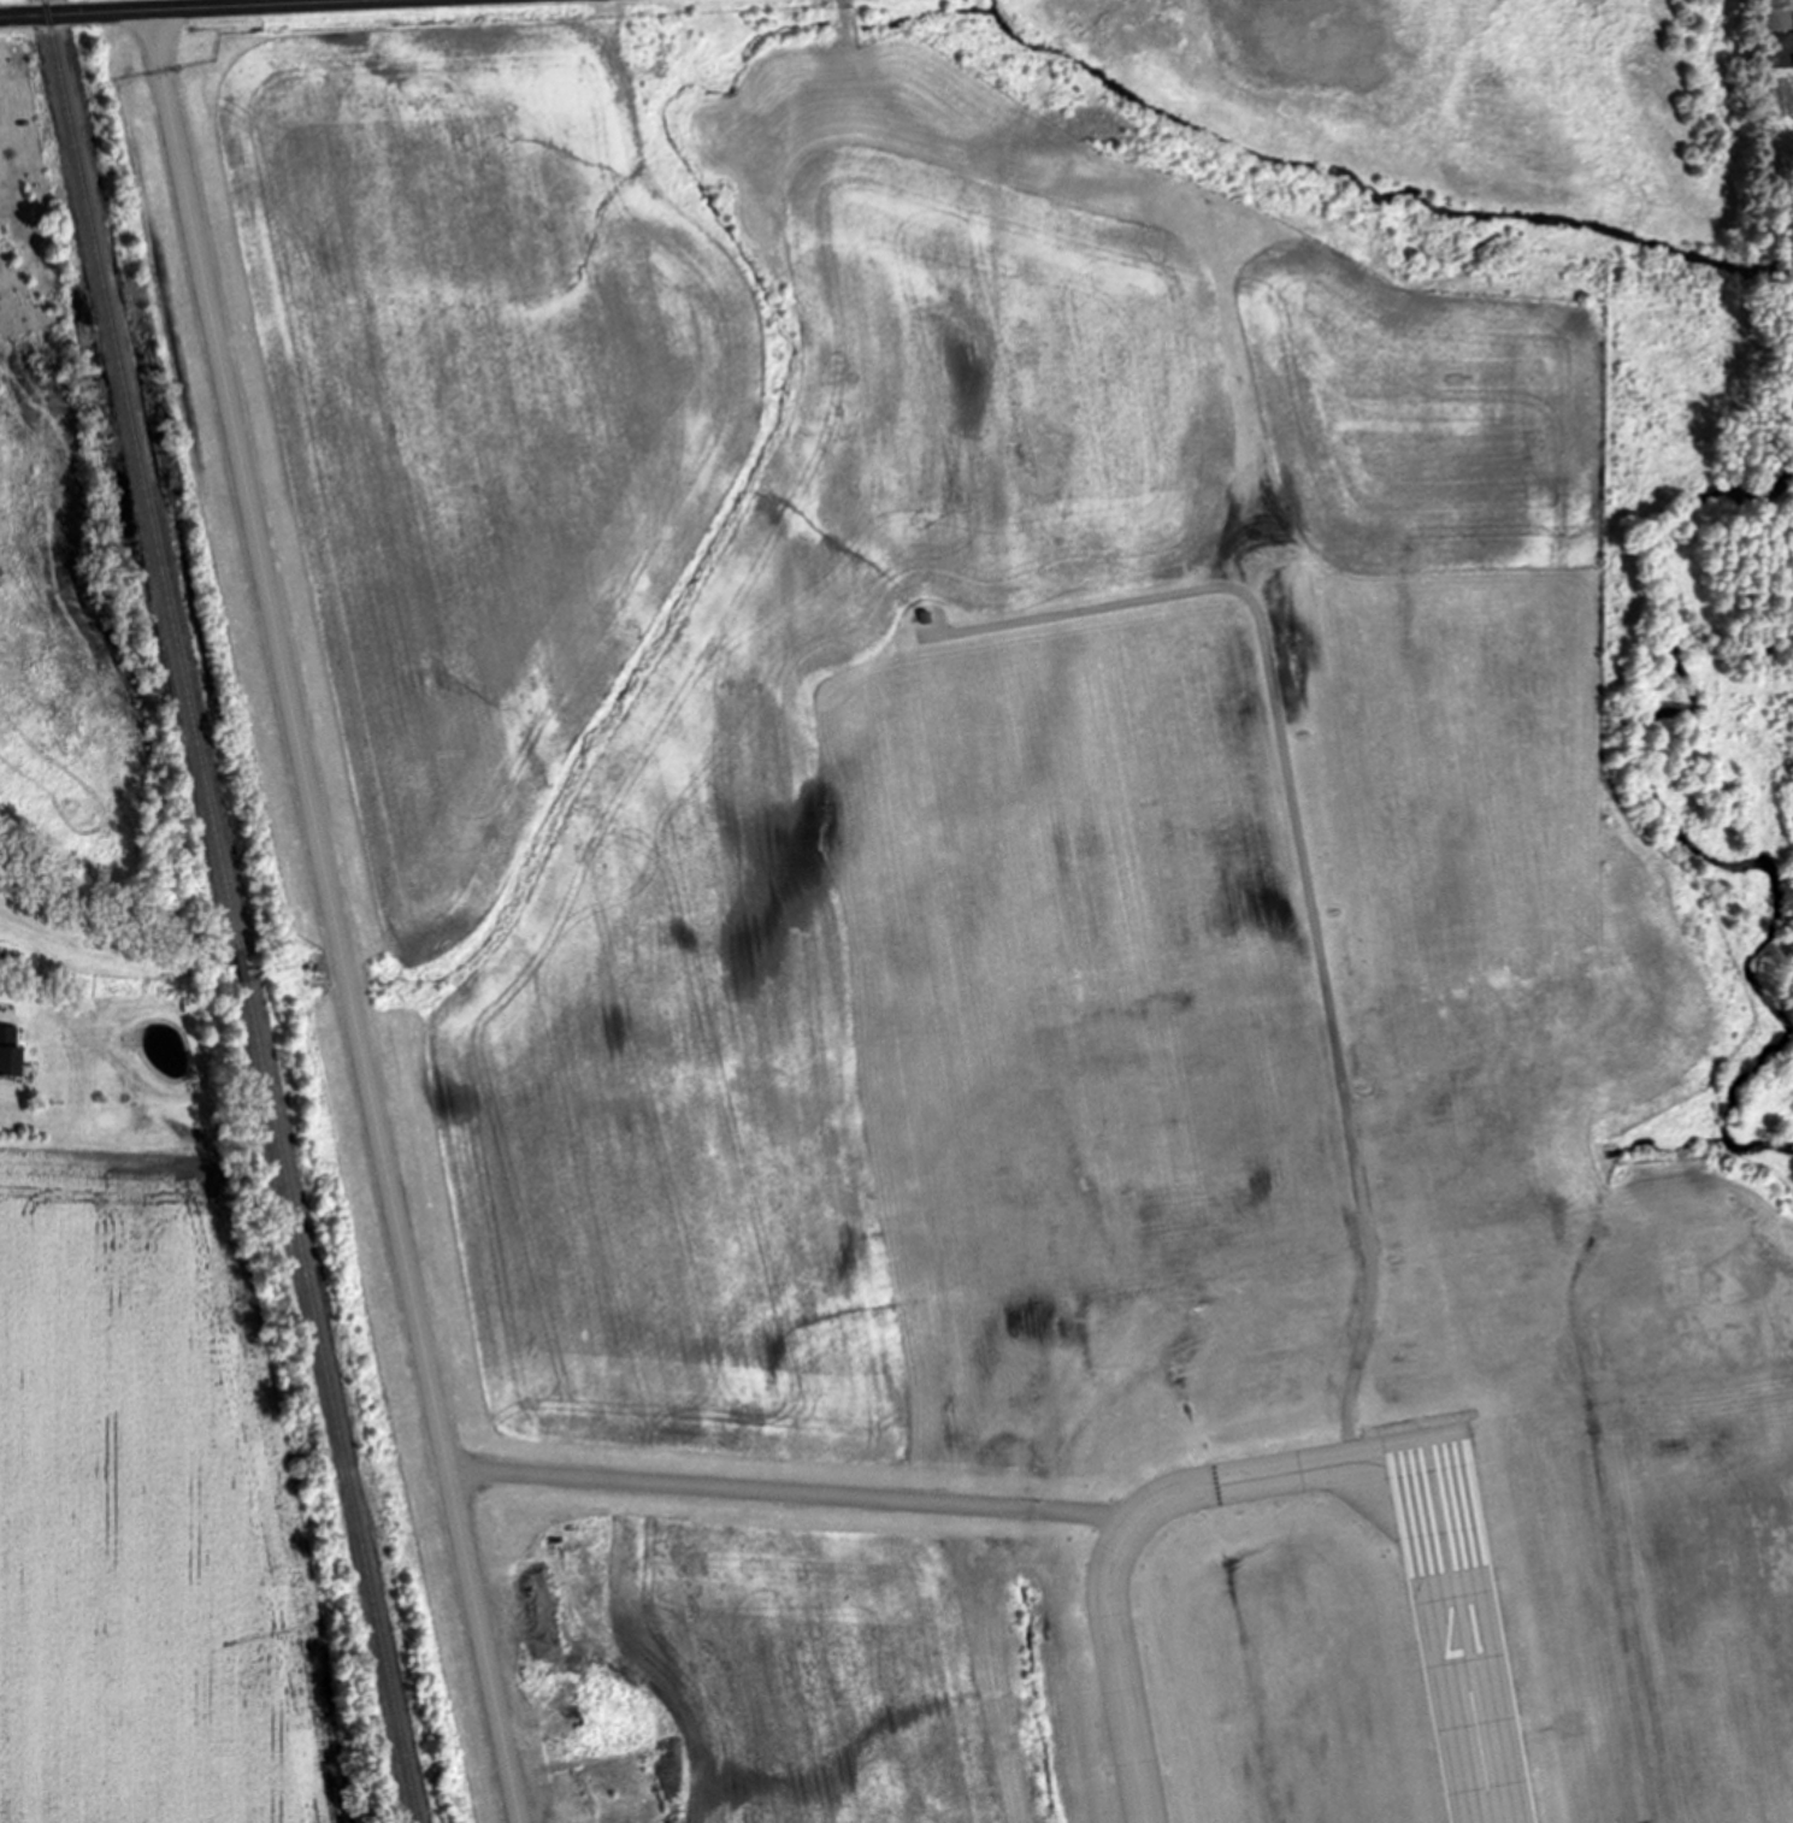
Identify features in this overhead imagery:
road: (158, 8)
building: (1768, 14)
road: (157, 40)
road: (1304, 863)
airport: (1036, 890)
railway: (232, 912)
road: (342, 946)
building: (12, 1054)
road: (792, 1492)
airport taxiway: (1136, 1522)
airport runway: (1464, 1634)

